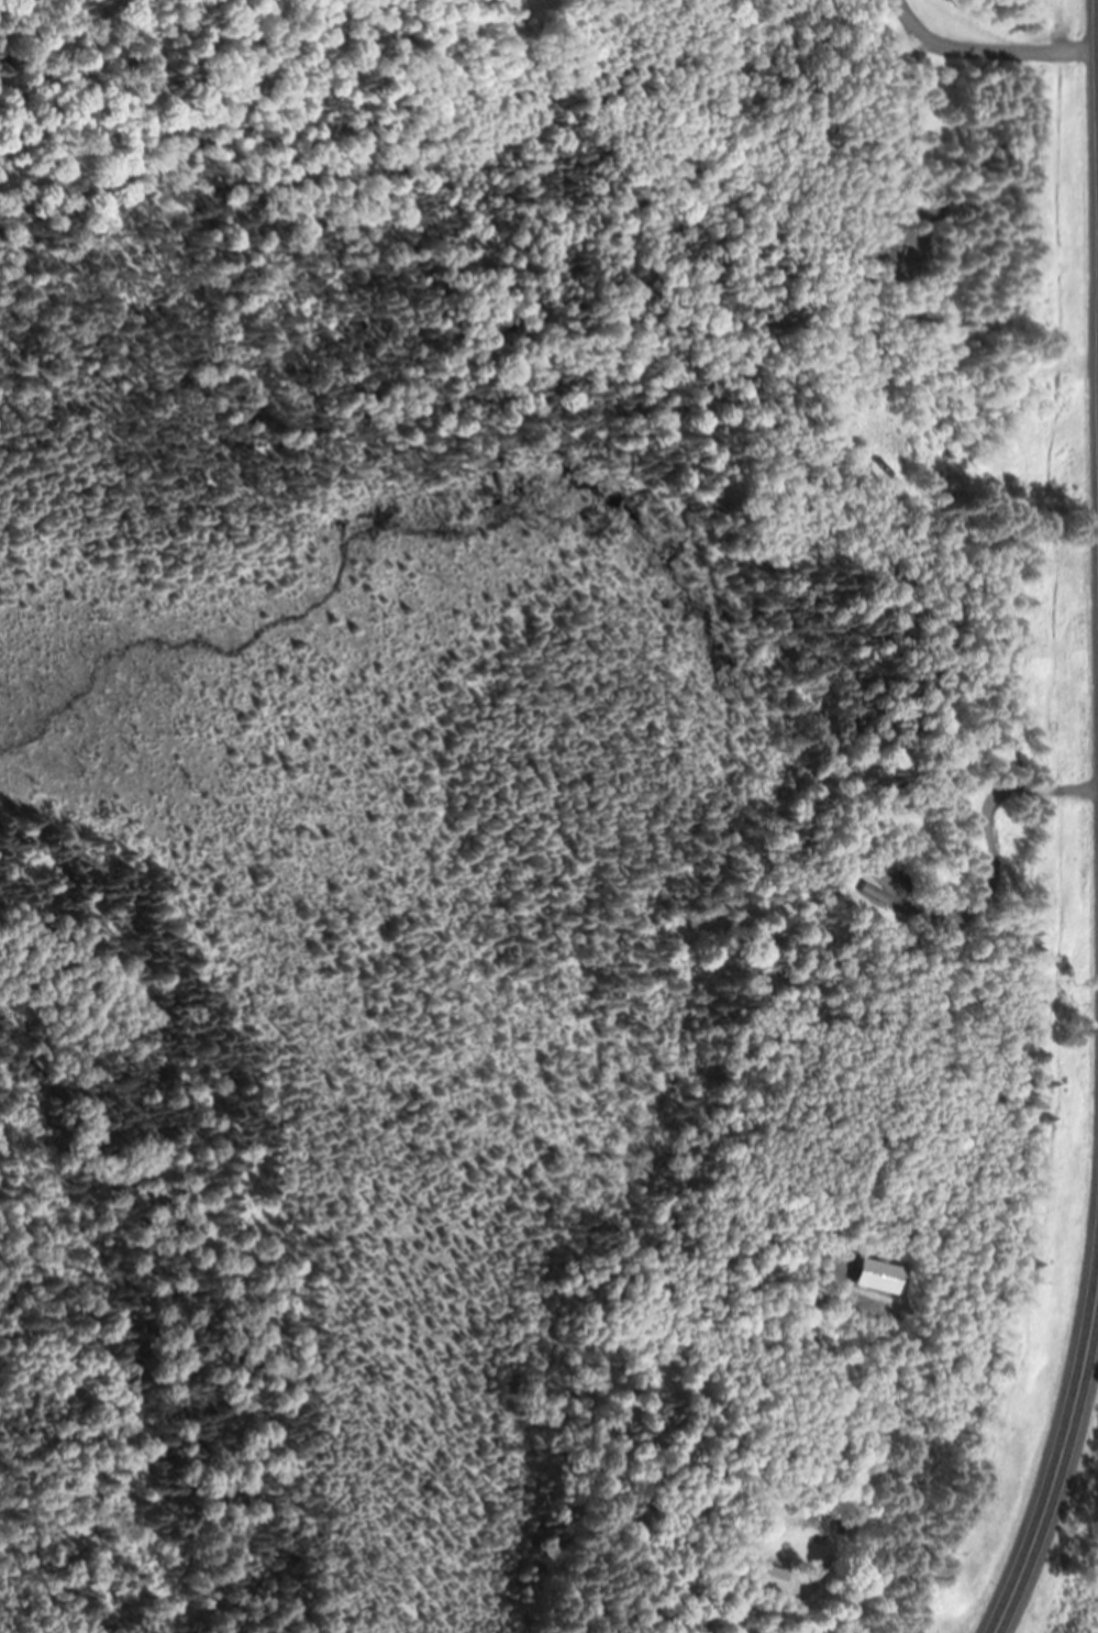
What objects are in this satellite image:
road: (987, 48)
road: (1000, 393)
road: (908, 1104)
road: (1058, 1472)

